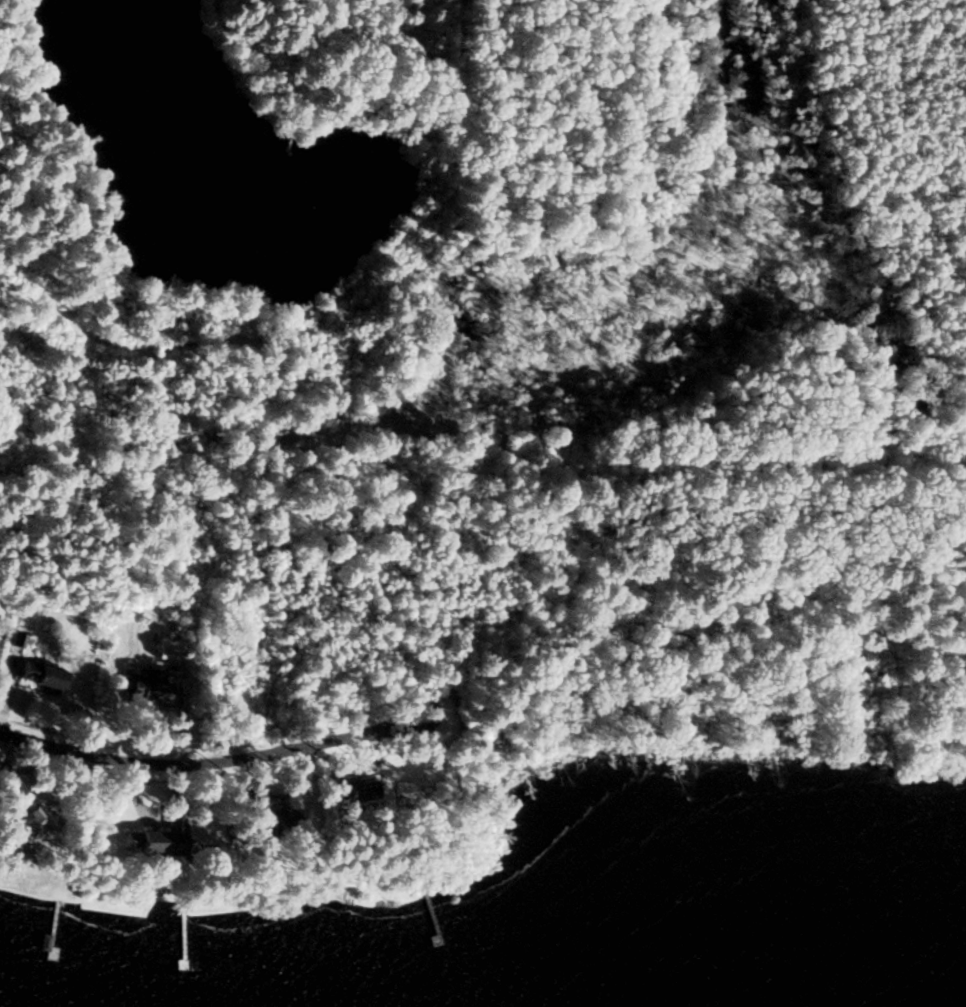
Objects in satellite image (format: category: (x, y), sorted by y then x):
building: (37, 675)
building: (144, 688)
road: (212, 760)
building: (350, 790)
building: (271, 819)
building: (24, 824)
building: (156, 836)

